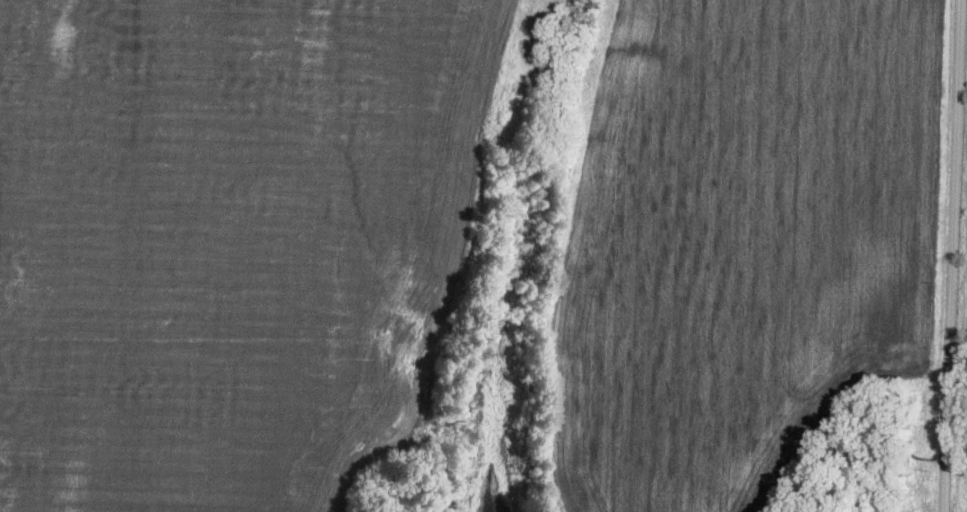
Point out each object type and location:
road: (954, 256)

